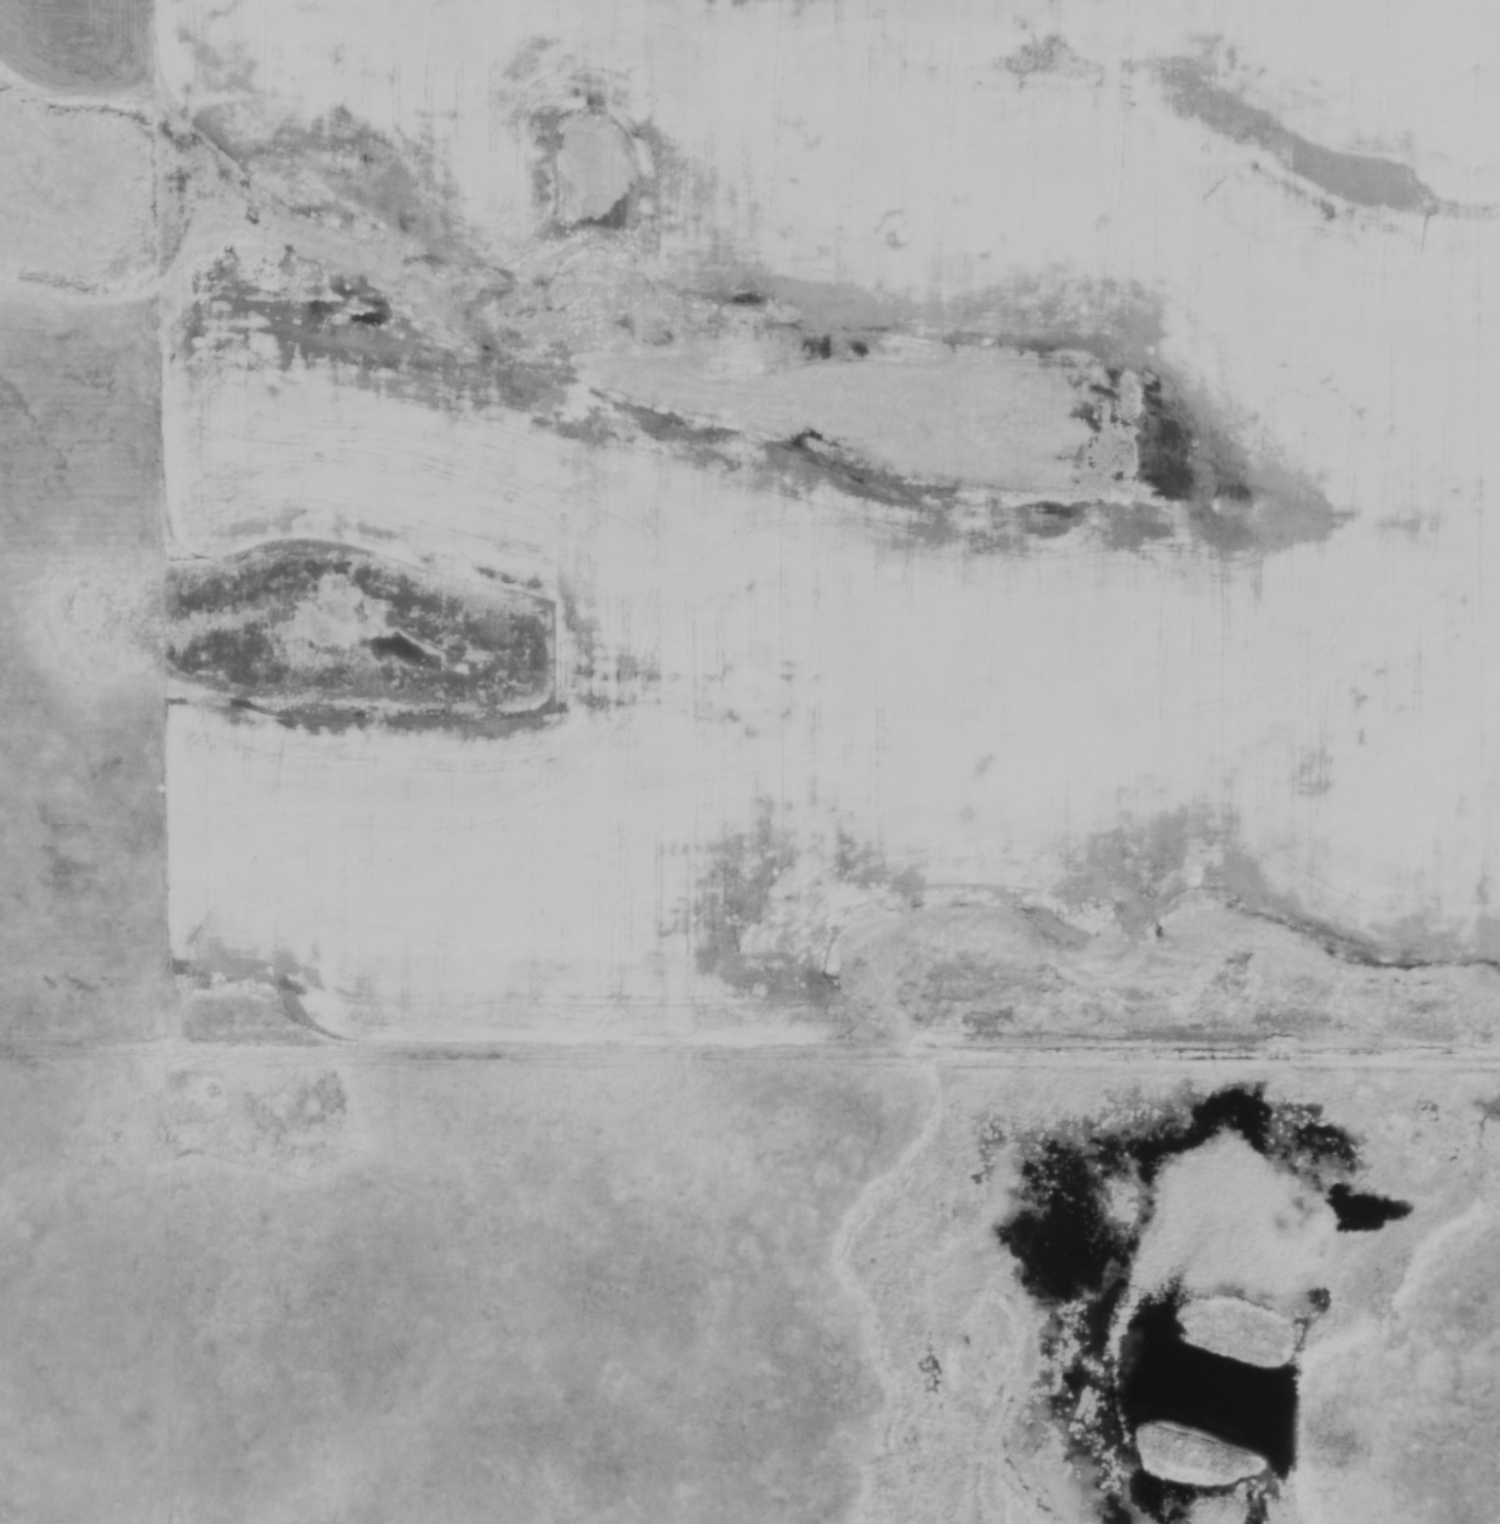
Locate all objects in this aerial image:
road: (749, 1063)

